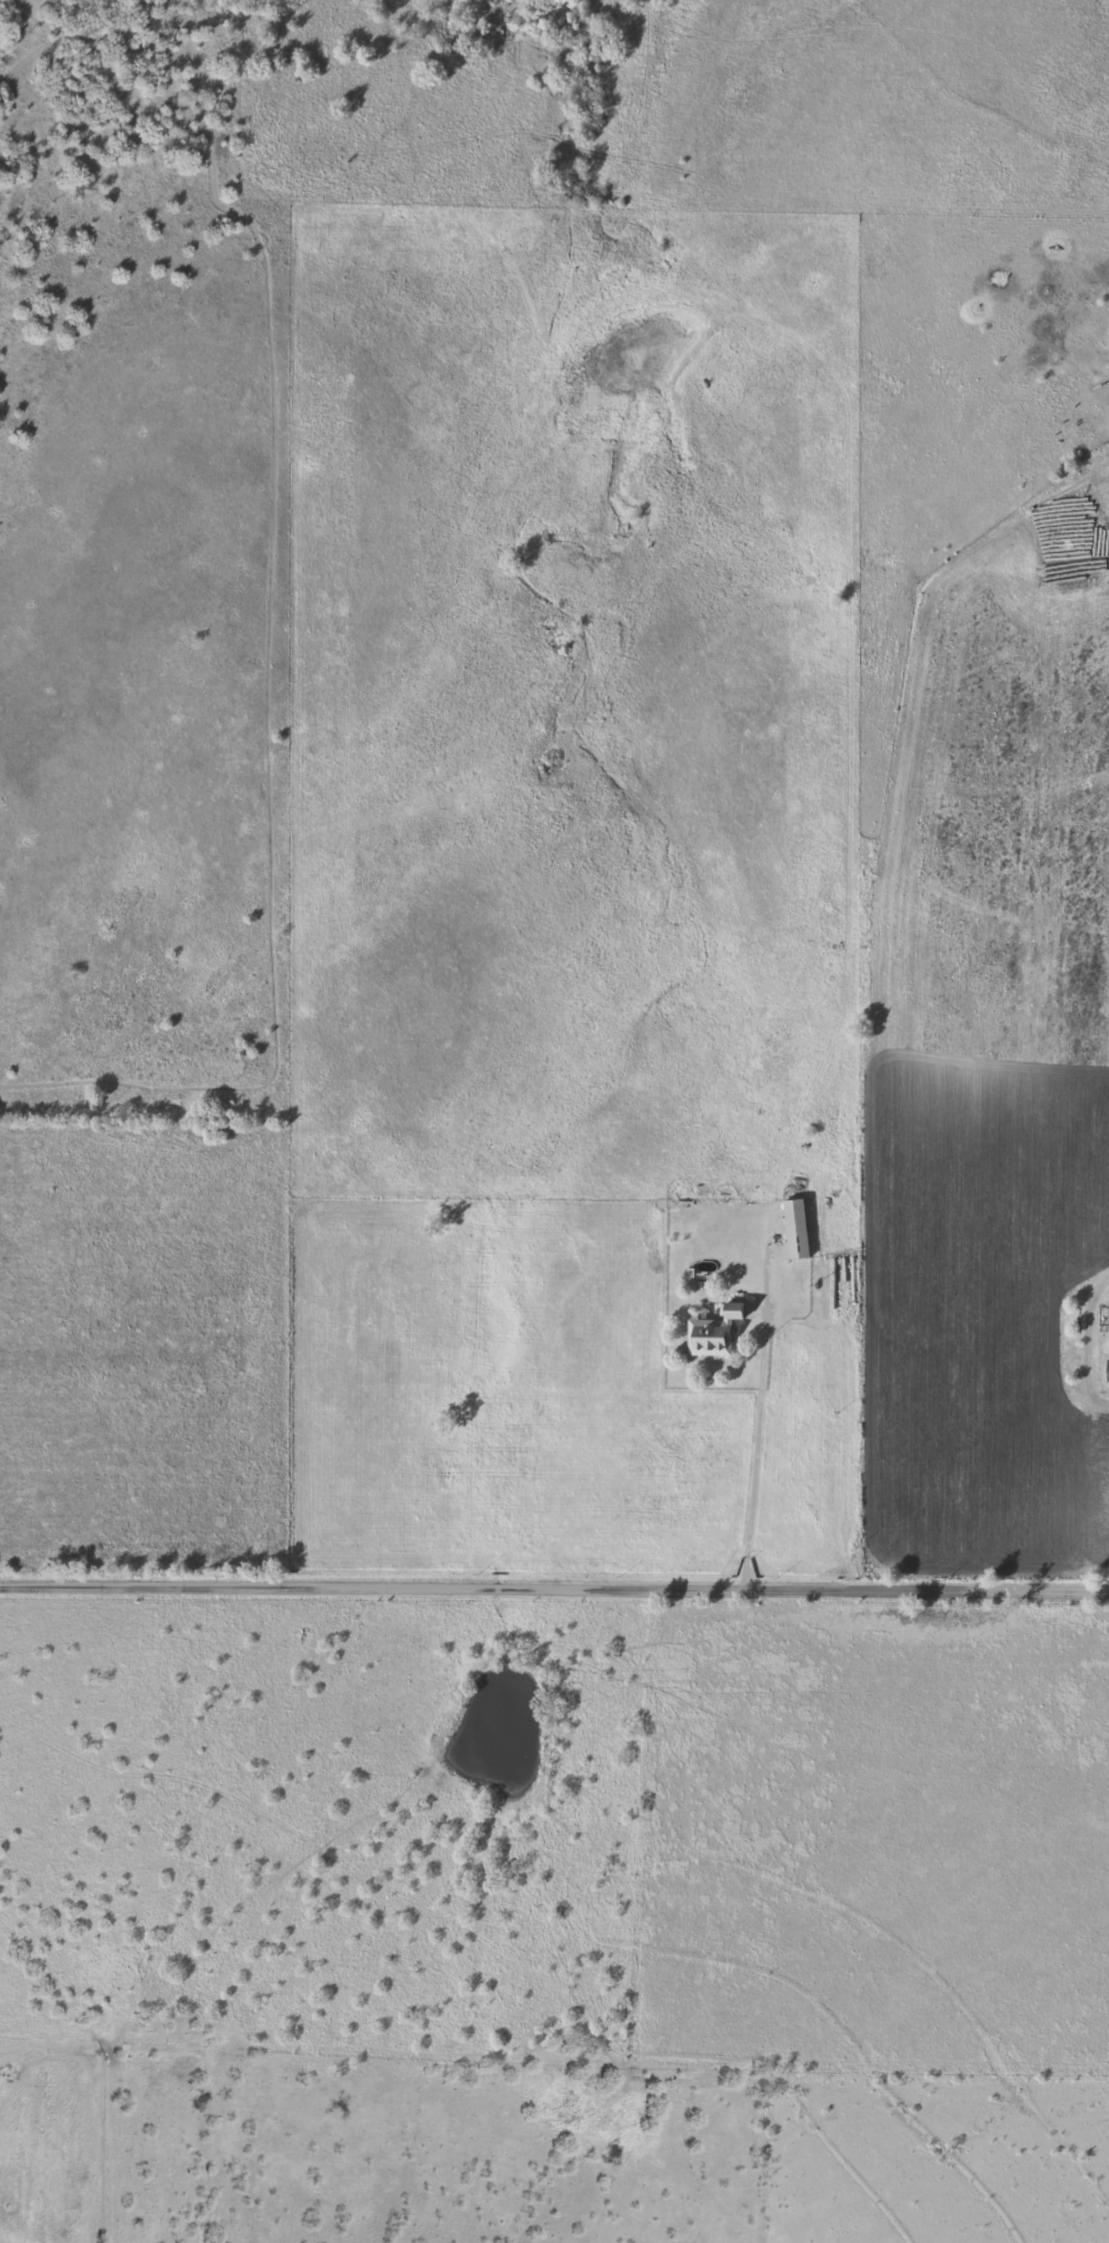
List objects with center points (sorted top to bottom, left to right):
building: (799, 1228)
building: (715, 1331)
road: (757, 1452)
road: (554, 1589)

